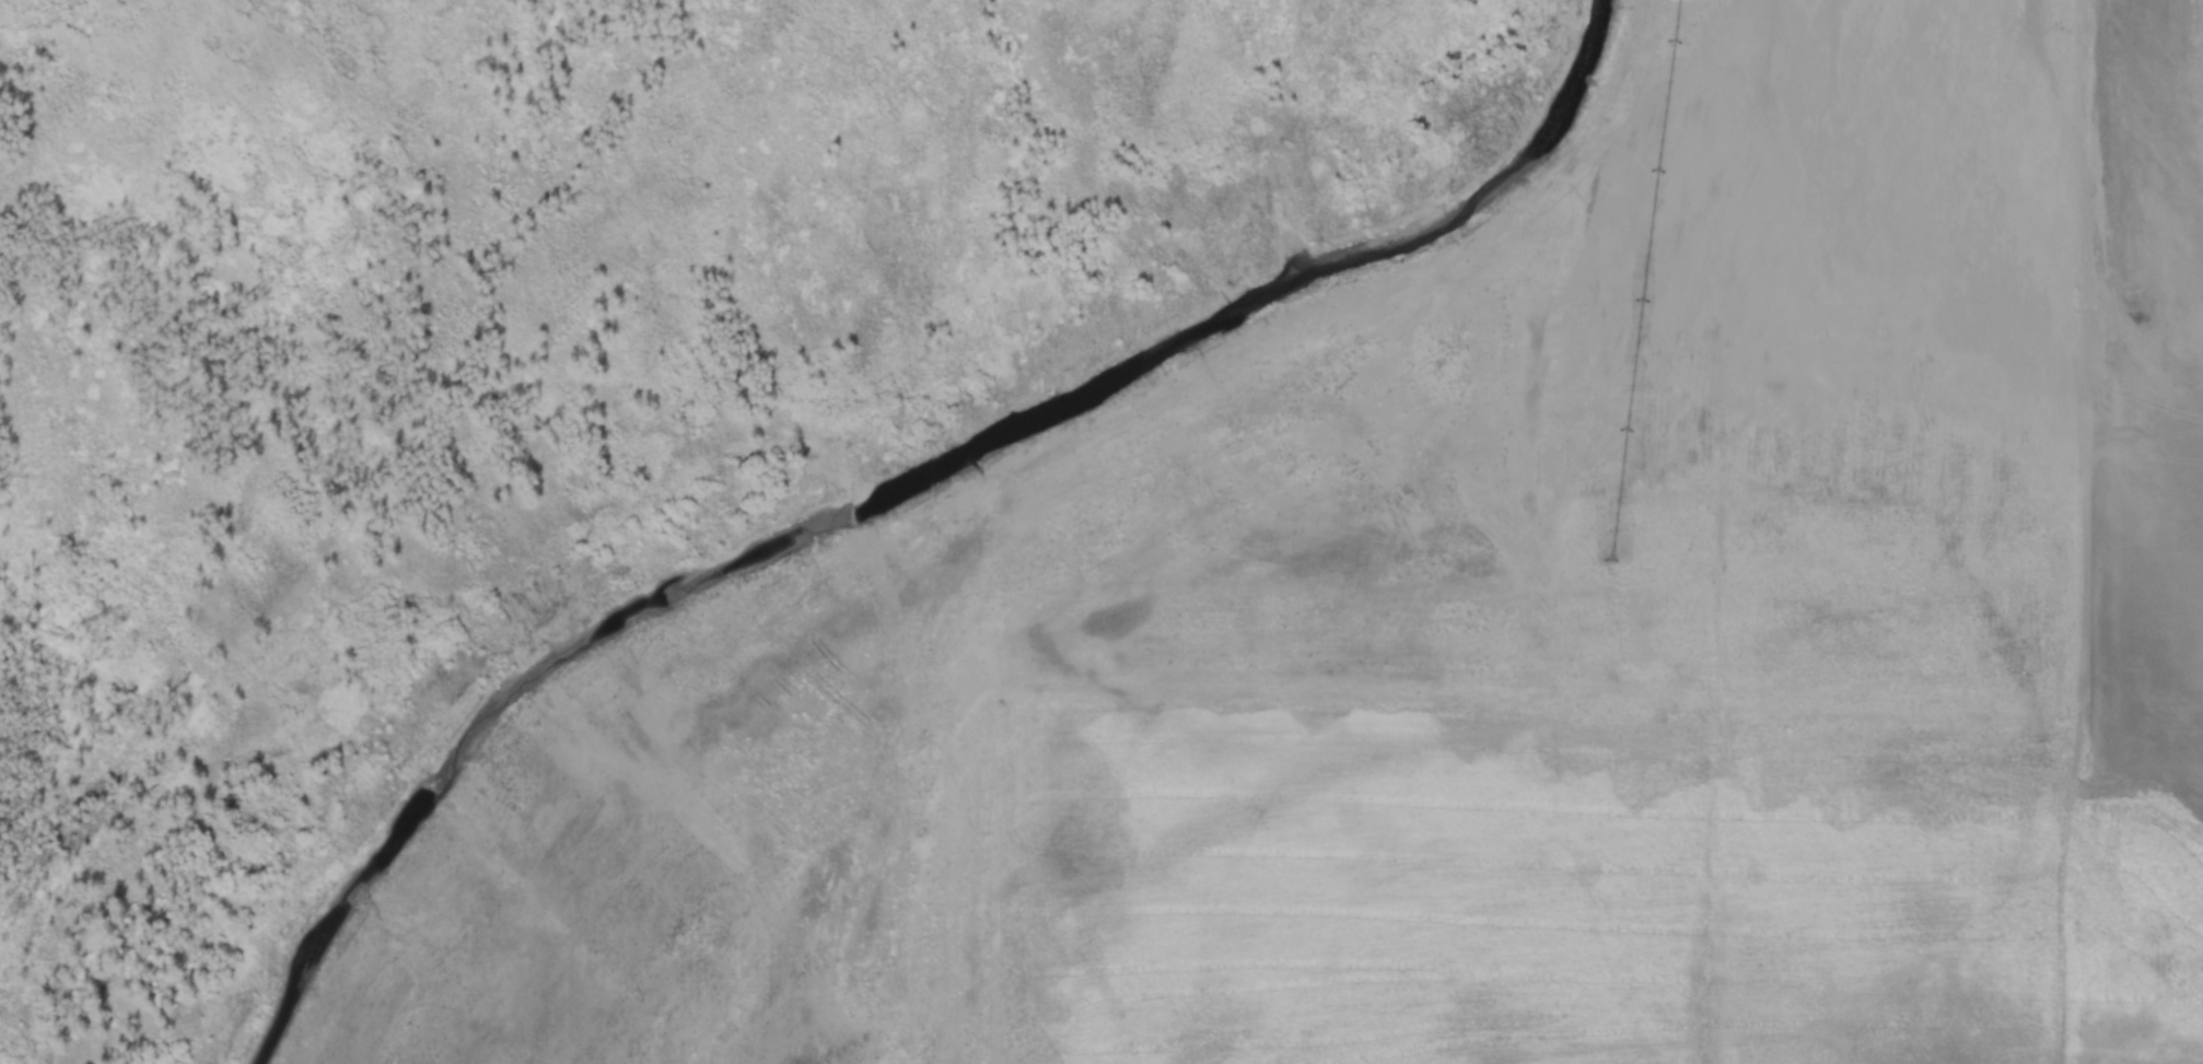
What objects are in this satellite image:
road: (2085, 413)

